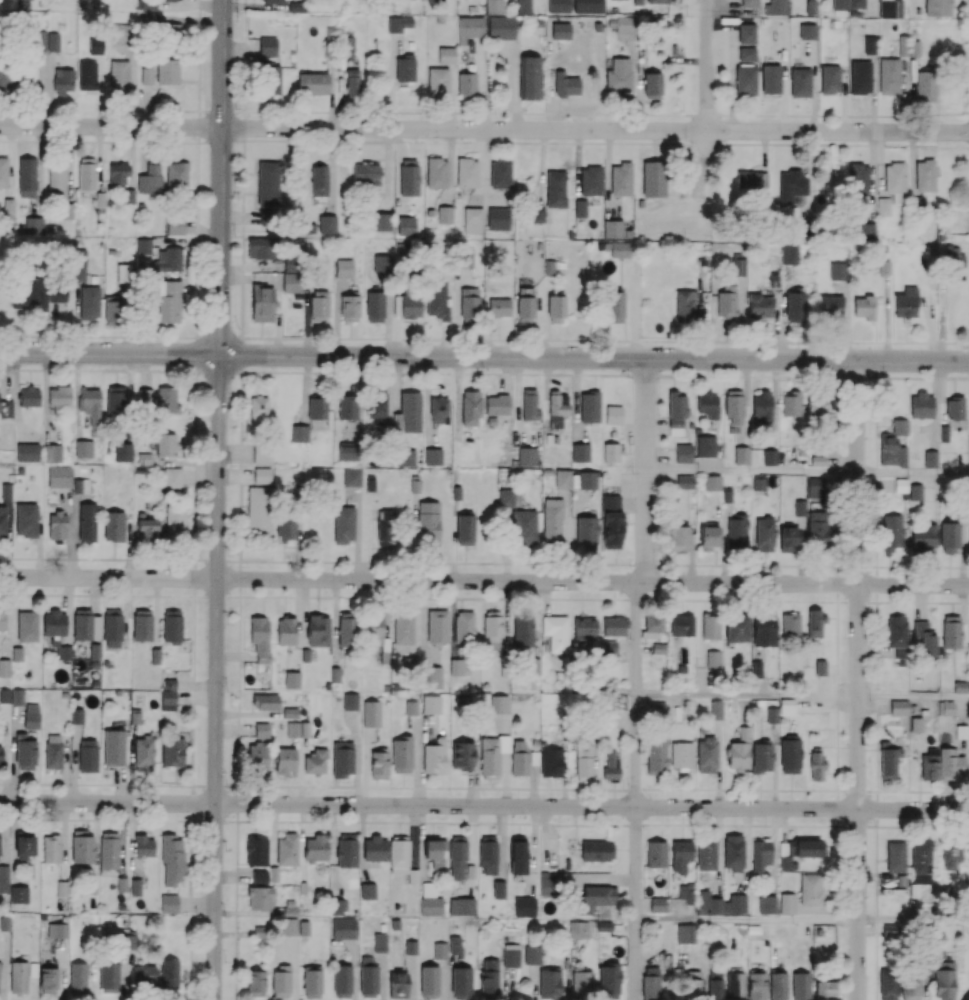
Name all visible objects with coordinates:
building: (763, 21)
building: (746, 33)
building: (868, 45)
building: (746, 53)
road: (707, 65)
building: (888, 75)
building: (859, 77)
building: (770, 78)
building: (829, 79)
road: (390, 80)
road: (632, 82)
building: (800, 82)
road: (481, 83)
road: (512, 84)
road: (330, 92)
road: (450, 96)
road: (549, 99)
road: (640, 102)
road: (111, 126)
road: (595, 130)
road: (764, 151)
road: (487, 160)
road: (912, 163)
road: (577, 164)
road: (879, 164)
road: (449, 167)
road: (479, 167)
road: (541, 168)
road: (386, 170)
road: (331, 171)
building: (3, 172)
road: (396, 172)
building: (436, 172)
building: (466, 172)
building: (499, 173)
road: (607, 174)
road: (810, 176)
road: (221, 177)
road: (870, 177)
building: (589, 180)
building: (267, 183)
building: (128, 196)
building: (580, 208)
building: (429, 212)
building: (443, 214)
building: (537, 214)
building: (380, 221)
building: (326, 224)
building: (33, 225)
building: (309, 227)
building: (51, 228)
building: (612, 229)
building: (627, 233)
building: (143, 245)
building: (343, 267)
road: (885, 318)
road: (845, 320)
road: (110, 354)
road: (594, 357)
road: (941, 381)
road: (933, 405)
building: (943, 433)
building: (929, 458)
road: (752, 471)
road: (913, 473)
road: (108, 578)
road: (593, 582)
road: (217, 677)
road: (636, 677)
road: (858, 679)
road: (747, 697)
road: (913, 699)
road: (108, 803)
road: (592, 806)
road: (747, 920)
road: (913, 921)

